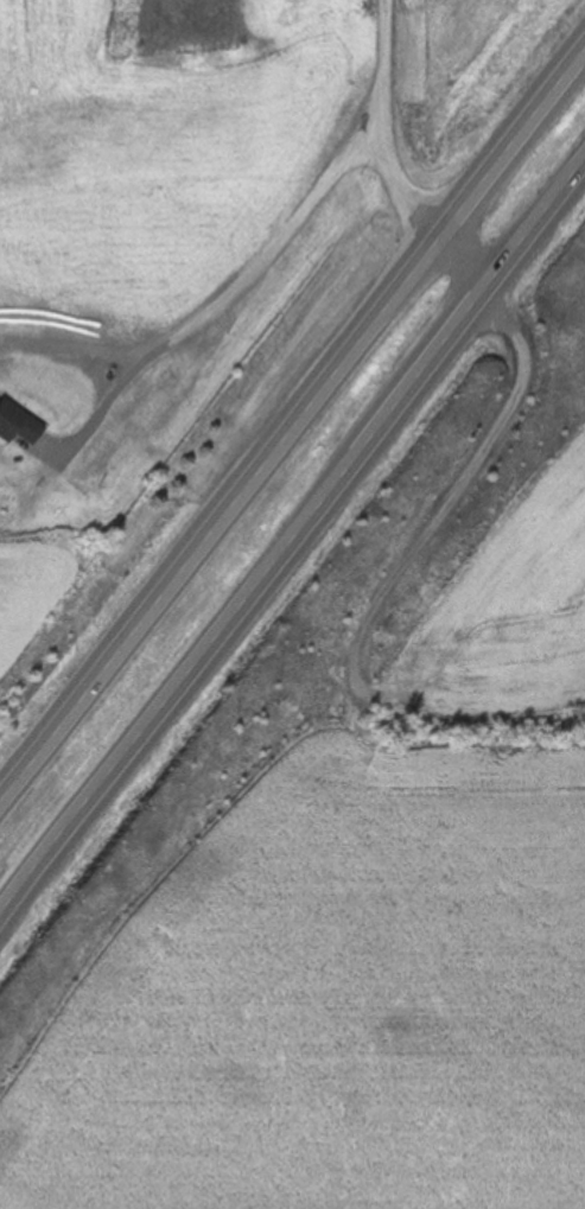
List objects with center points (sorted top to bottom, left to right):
road: (381, 127)
road: (460, 267)
road: (224, 304)
building: (19, 424)
road: (292, 429)
road: (454, 497)
road: (291, 545)

